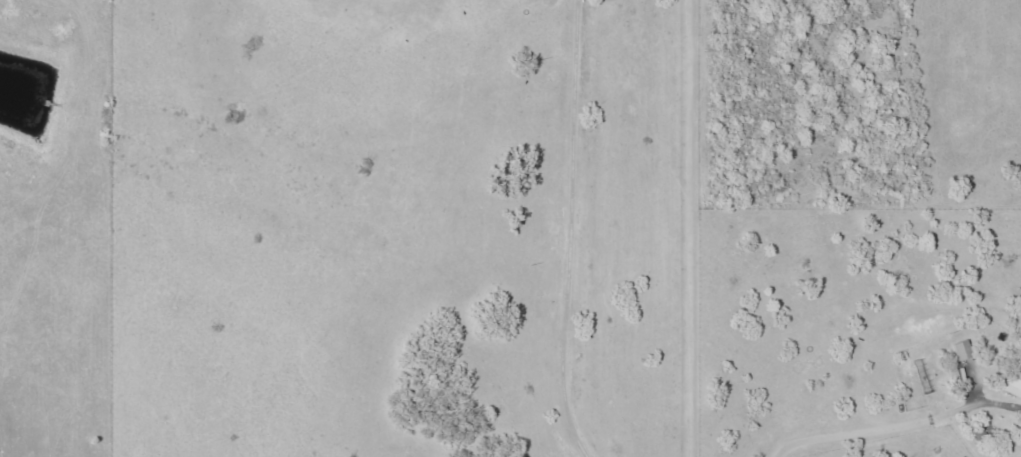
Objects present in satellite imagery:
road: (568, 232)
building: (1013, 374)

